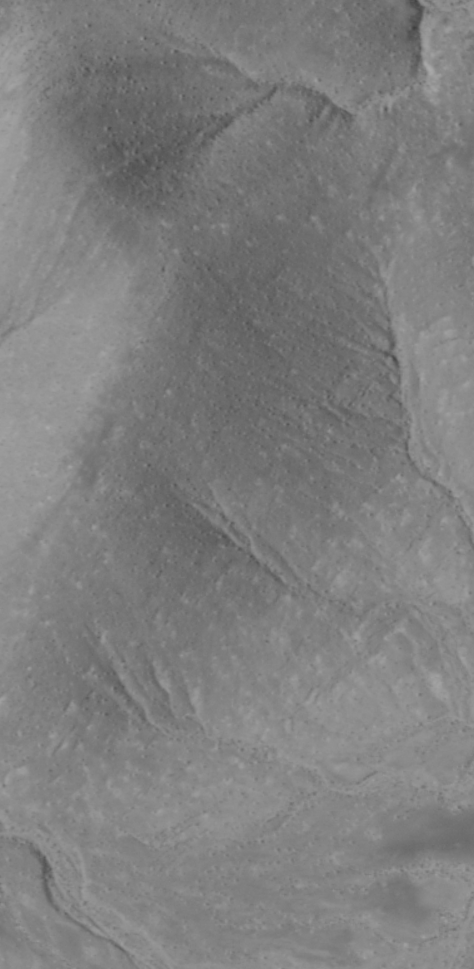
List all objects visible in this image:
road: (463, 941)

